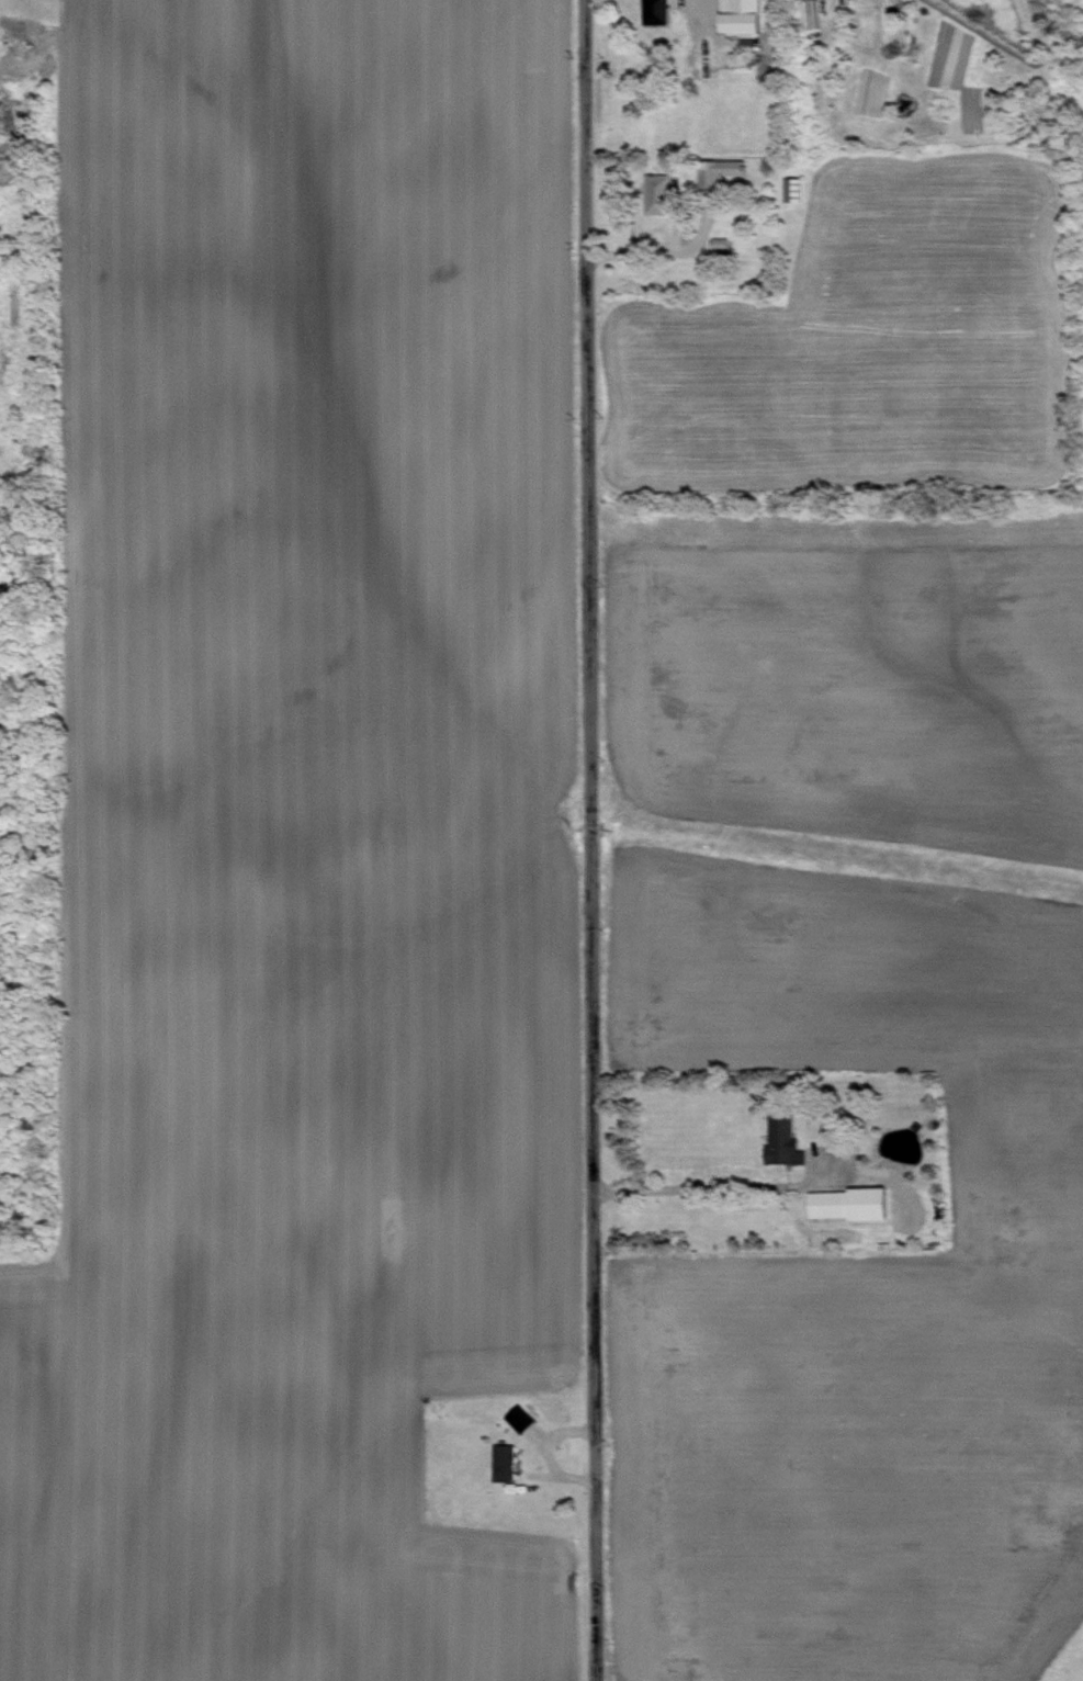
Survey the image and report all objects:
building: (653, 10)
building: (738, 15)
building: (715, 170)
building: (790, 189)
building: (655, 193)
road: (676, 251)
road: (588, 840)
building: (780, 1139)
road: (722, 1185)
building: (847, 1203)
building: (518, 1417)
road: (549, 1451)
building: (501, 1462)

